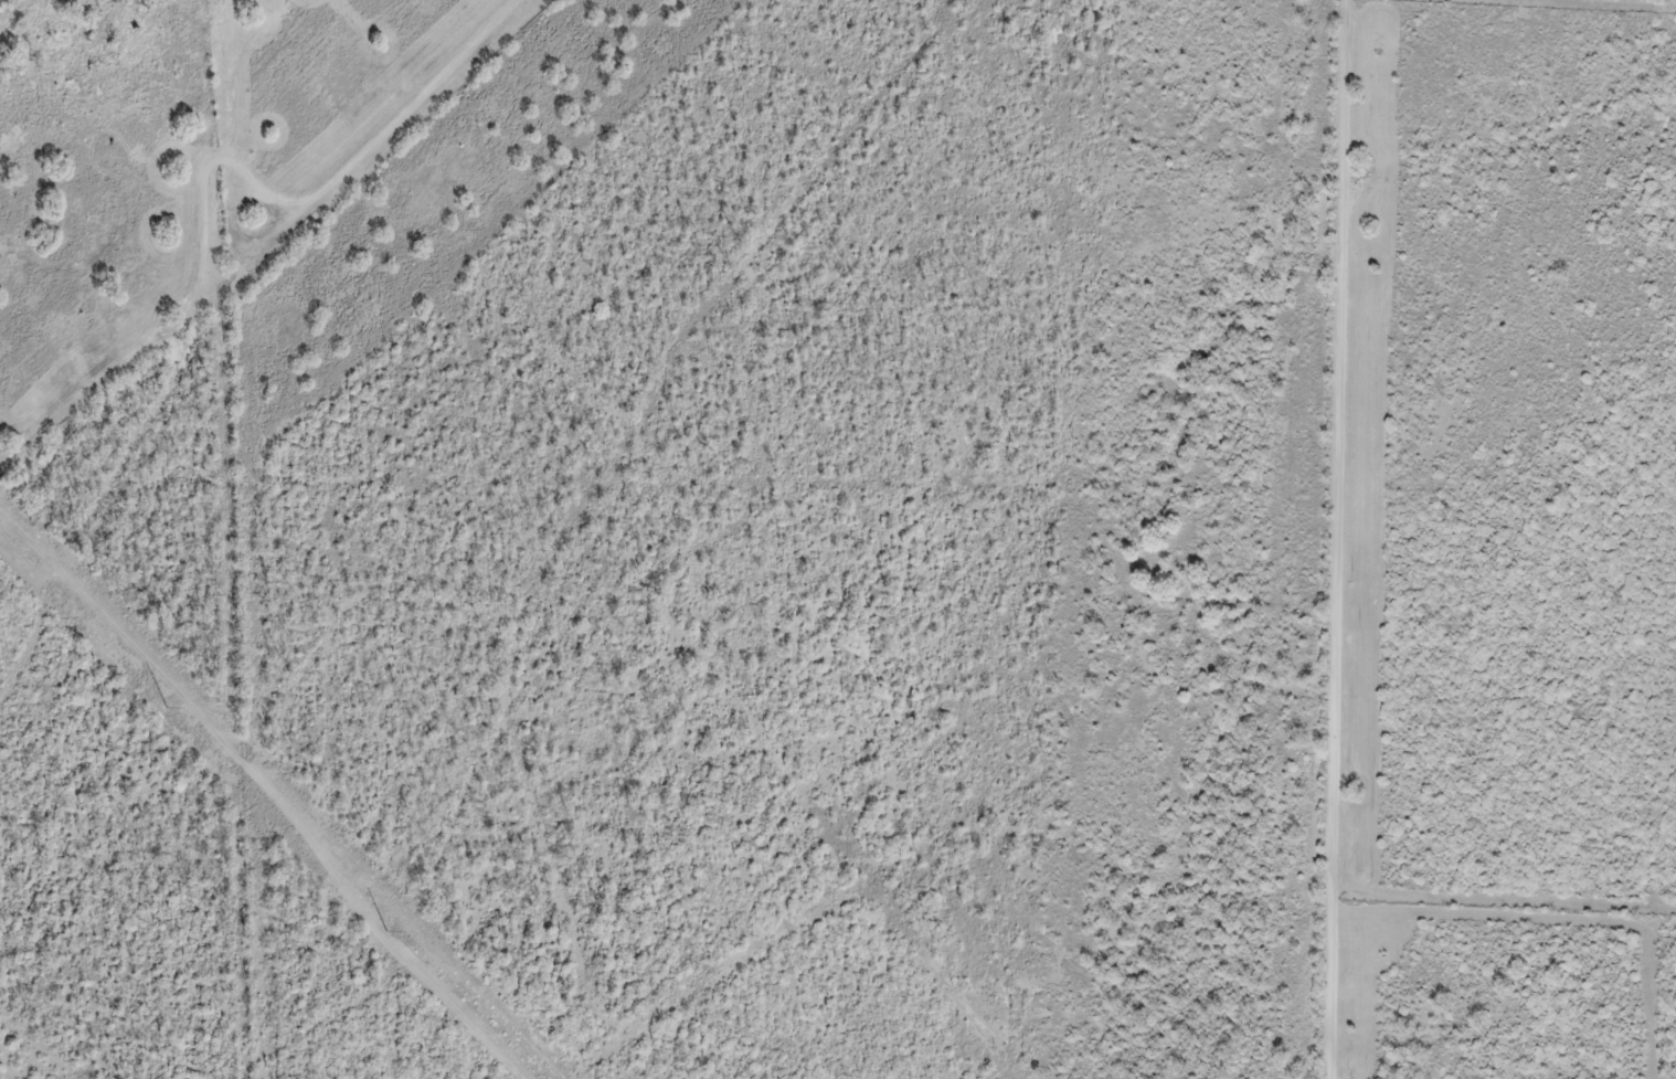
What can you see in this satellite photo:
road: (1337, 539)
power tower: (168, 711)
power tower: (388, 934)

